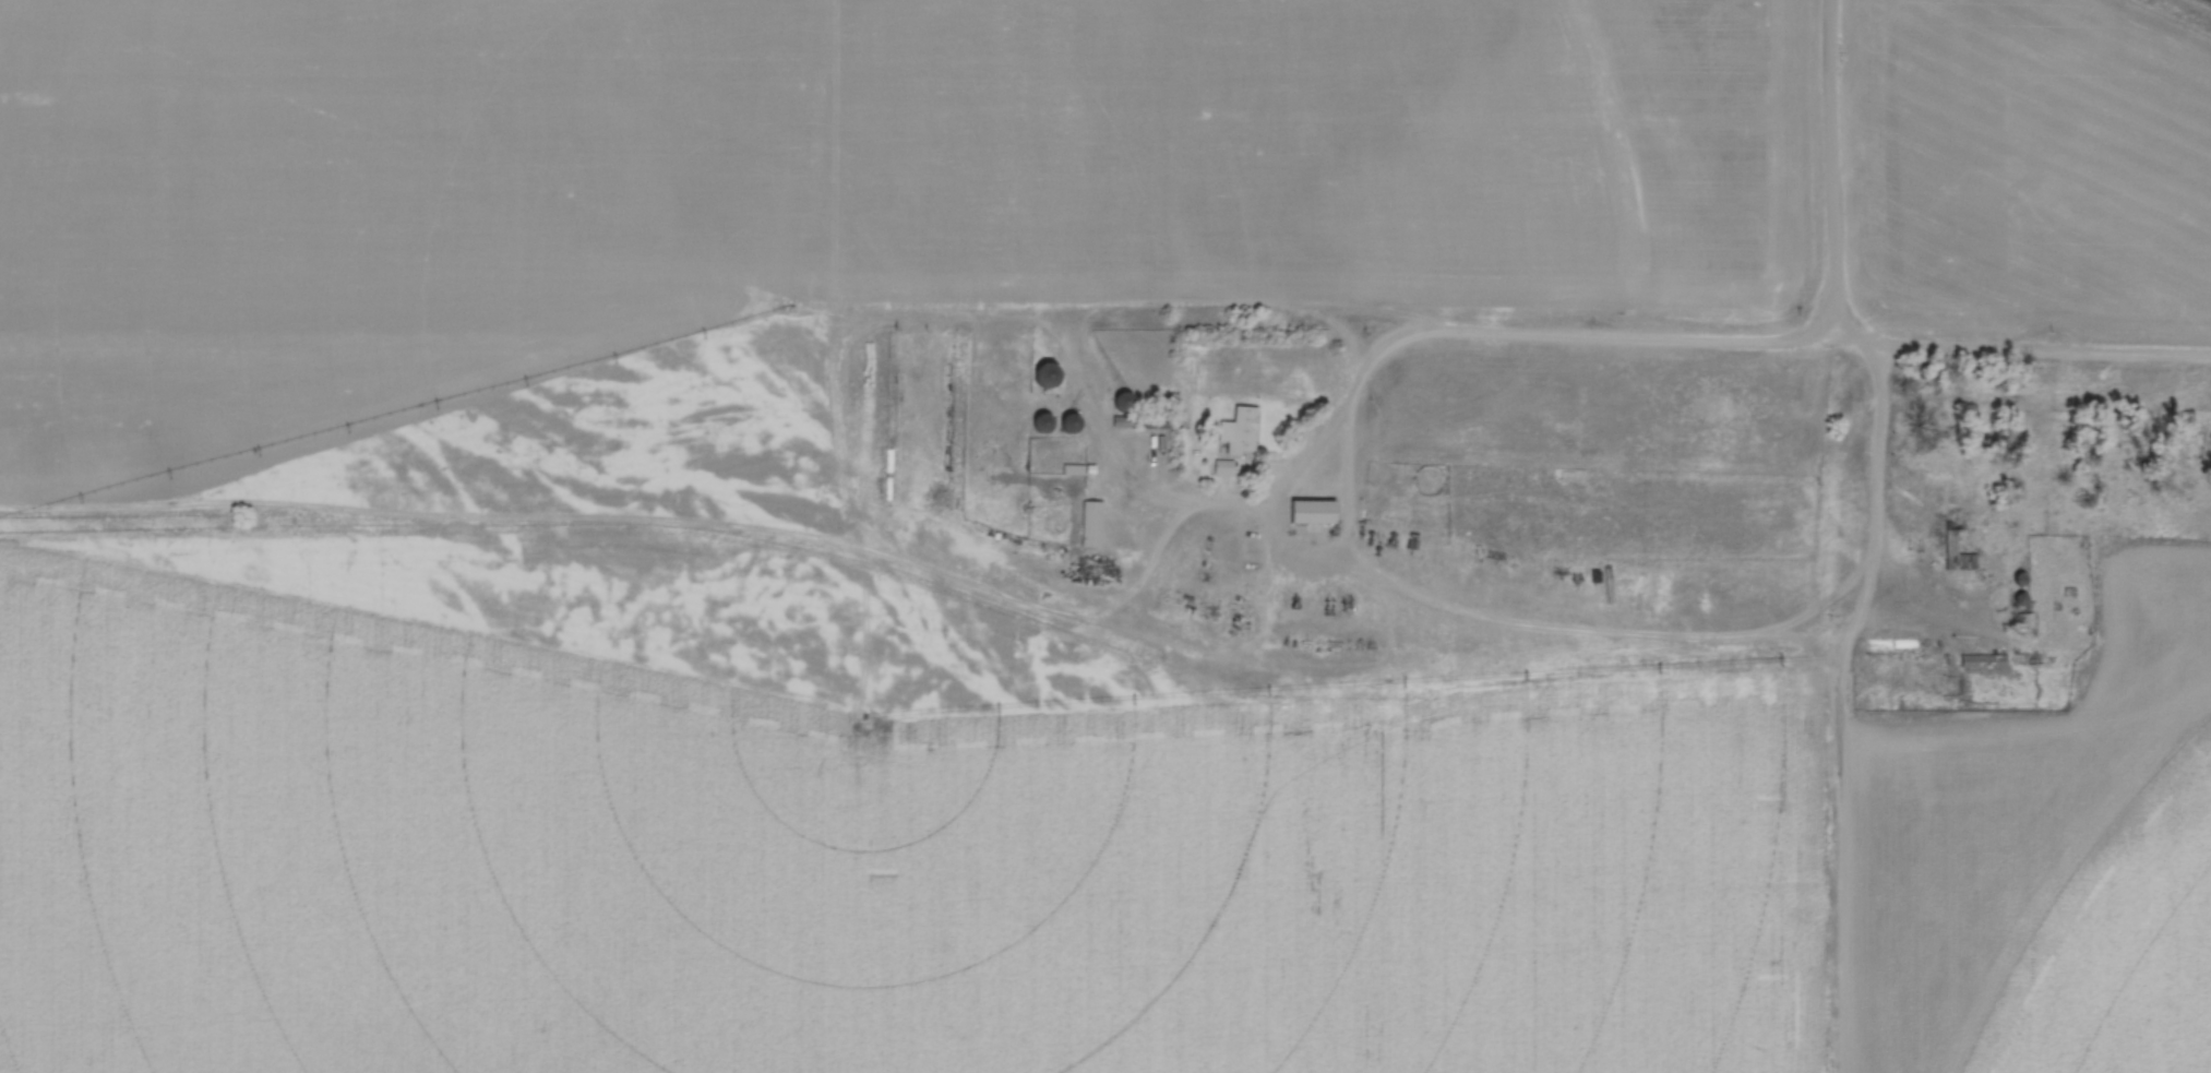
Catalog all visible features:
road: (1822, 174)
road: (1838, 319)
road: (1800, 338)
building: (1071, 422)
building: (1041, 424)
building: (1244, 430)
road: (1293, 469)
building: (1567, 473)
road: (1344, 482)
building: (1315, 511)
building: (1090, 524)
road: (1868, 536)
building: (1956, 557)

